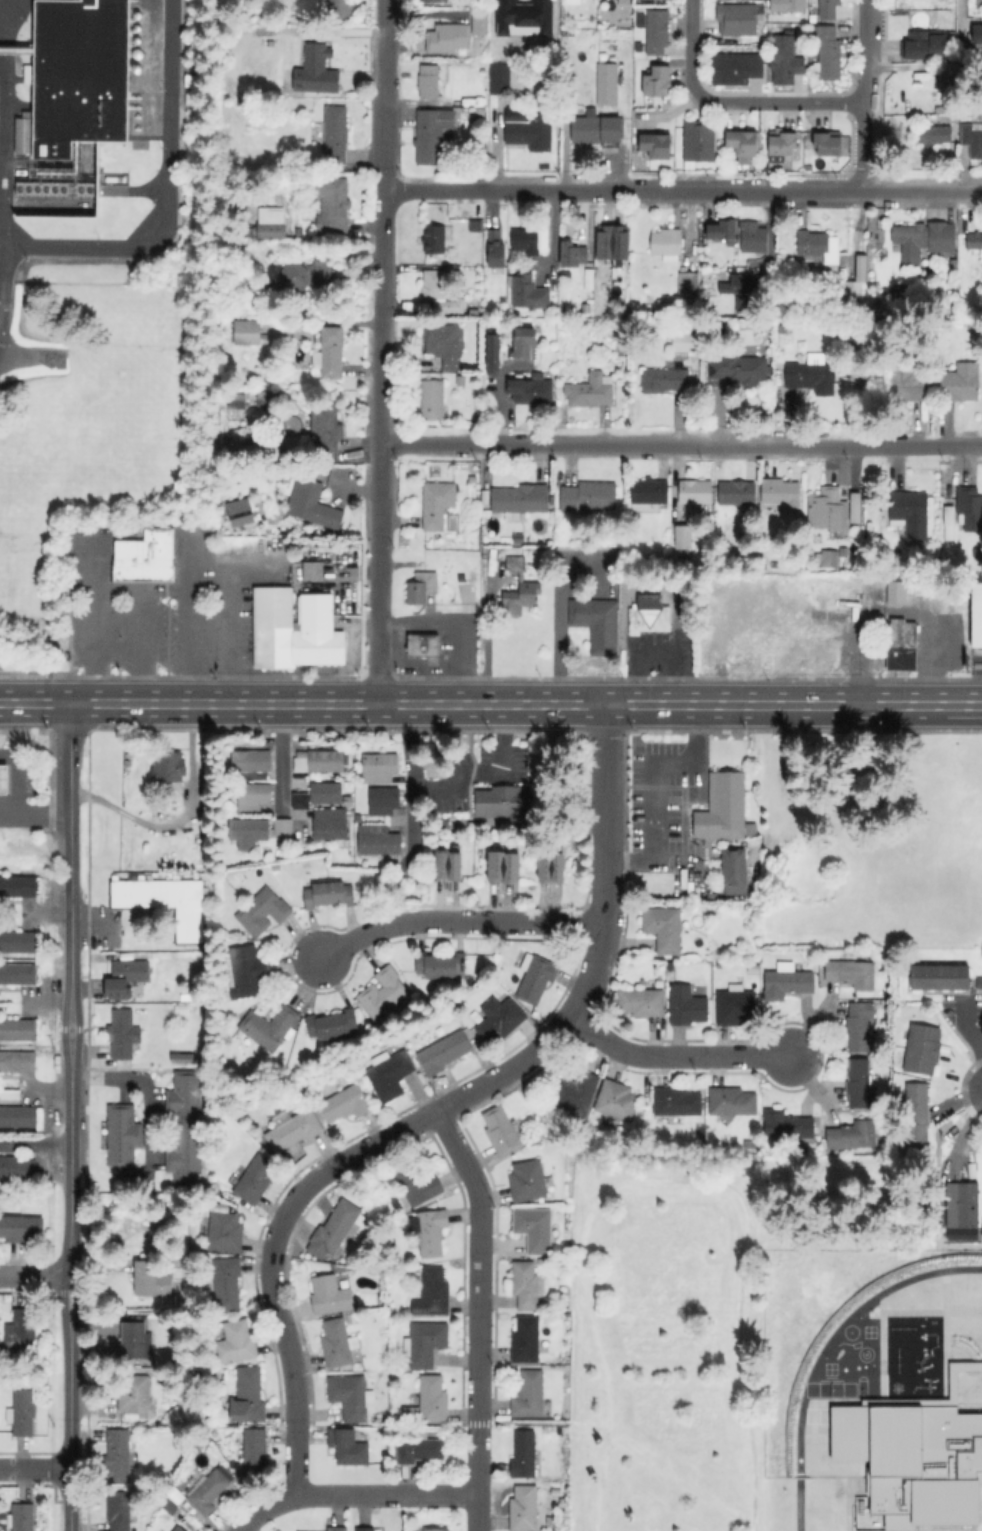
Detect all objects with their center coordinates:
building: (433, 0)
building: (625, 1)
building: (574, 2)
building: (789, 5)
building: (342, 8)
building: (829, 9)
building: (169, 19)
building: (480, 19)
building: (738, 19)
building: (655, 31)
building: (448, 37)
building: (978, 39)
building: (284, 42)
building: (924, 45)
road: (689, 47)
building: (829, 52)
building: (315, 56)
building: (469, 56)
building: (786, 62)
building: (736, 69)
building: (949, 70)
building: (26, 75)
building: (78, 76)
building: (500, 77)
building: (429, 80)
building: (607, 80)
building: (657, 81)
road: (863, 94)
building: (188, 95)
road: (778, 101)
building: (478, 110)
building: (598, 129)
building: (531, 132)
building: (335, 134)
building: (934, 134)
building: (432, 135)
building: (972, 139)
building: (699, 140)
building: (782, 142)
building: (741, 143)
building: (829, 143)
building: (656, 144)
road: (1, 157)
building: (58, 187)
road: (507, 189)
road: (741, 189)
road: (917, 189)
road: (166, 198)
building: (334, 206)
building: (306, 211)
building: (723, 227)
building: (271, 229)
building: (249, 230)
building: (752, 237)
building: (434, 239)
building: (923, 240)
building: (974, 240)
building: (525, 242)
building: (613, 242)
building: (666, 242)
building: (818, 244)
building: (493, 249)
building: (571, 252)
building: (854, 264)
building: (306, 273)
building: (687, 283)
building: (740, 289)
building: (440, 292)
building: (529, 292)
building: (853, 295)
building: (650, 297)
building: (951, 310)
building: (295, 324)
building: (977, 324)
building: (248, 332)
building: (684, 342)
building: (444, 344)
building: (524, 344)
building: (622, 348)
road: (382, 351)
building: (330, 352)
building: (493, 355)
building: (738, 367)
building: (812, 377)
building: (778, 378)
building: (664, 379)
building: (908, 381)
building: (961, 381)
building: (591, 389)
building: (531, 390)
building: (236, 399)
building: (432, 399)
road: (496, 413)
building: (327, 426)
road: (681, 443)
building: (649, 491)
building: (693, 491)
building: (780, 491)
building: (737, 493)
building: (589, 497)
building: (520, 499)
building: (312, 503)
building: (437, 503)
building: (852, 506)
building: (969, 508)
building: (828, 510)
building: (241, 512)
building: (909, 513)
building: (946, 531)
building: (684, 537)
building: (977, 553)
building: (147, 556)
building: (828, 557)
building: (897, 563)
road: (210, 565)
building: (316, 570)
building: (421, 587)
building: (519, 589)
building: (894, 591)
road: (188, 599)
building: (816, 614)
building: (977, 614)
building: (796, 616)
building: (649, 619)
road: (94, 622)
building: (595, 623)
building: (292, 629)
road: (449, 631)
road: (230, 634)
building: (715, 635)
building: (743, 637)
road: (564, 643)
building: (899, 644)
building: (423, 645)
road: (140, 646)
building: (826, 652)
road: (303, 703)
road: (794, 704)
road: (278, 758)
building: (248, 759)
building: (319, 761)
building: (168, 766)
building: (380, 766)
road: (69, 767)
road: (411, 767)
building: (3, 779)
road: (653, 784)
building: (322, 792)
building: (250, 795)
building: (298, 800)
building: (383, 801)
building: (504, 803)
road: (9, 804)
road: (18, 806)
building: (724, 806)
road: (180, 818)
building: (330, 824)
building: (252, 829)
building: (753, 829)
building: (378, 840)
road: (607, 860)
building: (449, 865)
building: (504, 867)
building: (551, 867)
building: (734, 870)
building: (18, 885)
building: (329, 893)
building: (711, 896)
building: (163, 900)
building: (263, 910)
road: (456, 921)
road: (94, 924)
building: (664, 927)
building: (18, 941)
building: (814, 953)
building: (440, 965)
building: (247, 970)
building: (851, 972)
building: (18, 973)
building: (937, 975)
building: (537, 976)
building: (787, 981)
building: (977, 982)
building: (659, 983)
building: (115, 988)
building: (383, 991)
building: (187, 996)
building: (642, 1001)
building: (687, 1004)
building: (735, 1005)
building: (206, 1011)
building: (499, 1018)
building: (333, 1023)
building: (859, 1025)
building: (270, 1026)
building: (18, 1029)
building: (124, 1034)
road: (965, 1041)
building: (922, 1048)
building: (444, 1051)
building: (203, 1052)
road: (674, 1055)
building: (181, 1059)
building: (18, 1060)
building: (390, 1073)
building: (859, 1084)
road: (144, 1088)
building: (575, 1093)
building: (617, 1099)
building: (677, 1100)
building: (732, 1101)
building: (347, 1102)
road: (437, 1108)
building: (916, 1113)
building: (18, 1115)
building: (183, 1118)
building: (785, 1124)
building: (294, 1129)
building: (501, 1131)
building: (120, 1134)
building: (852, 1134)
road: (35, 1144)
building: (748, 1145)
building: (16, 1167)
building: (255, 1178)
building: (528, 1180)
road: (70, 1181)
road: (666, 1181)
building: (416, 1183)
building: (959, 1210)
building: (21, 1227)
building: (334, 1227)
building: (534, 1228)
building: (430, 1230)
building: (225, 1232)
road: (477, 1261)
road: (35, 1275)
building: (151, 1278)
building: (227, 1283)
building: (526, 1284)
building: (433, 1292)
building: (330, 1295)
rooftop solar panel: (432, 1307)
rooftop solar panel: (420, 1310)
building: (406, 1311)
park: (700, 1316)
building: (351, 1318)
building: (20, 1331)
building: (134, 1339)
road: (287, 1339)
building: (526, 1339)
building: (237, 1341)
building: (338, 1342)
building: (425, 1342)
building: (134, 1391)
building: (529, 1393)
building: (249, 1395)
building: (350, 1395)
building: (427, 1401)
building: (22, 1411)
road: (628, 1442)
building: (348, 1446)
building: (419, 1449)
building: (254, 1450)
building: (524, 1453)
building: (119, 1459)
building: (923, 1460)
road: (34, 1468)
road: (474, 1476)
road: (347, 1489)
building: (555, 1489)
building: (206, 1492)
building: (524, 1508)
building: (119, 1511)
building: (22, 1517)
building: (178, 1528)
building: (337, 1528)
building: (365, 1528)
building: (436, 1529)

